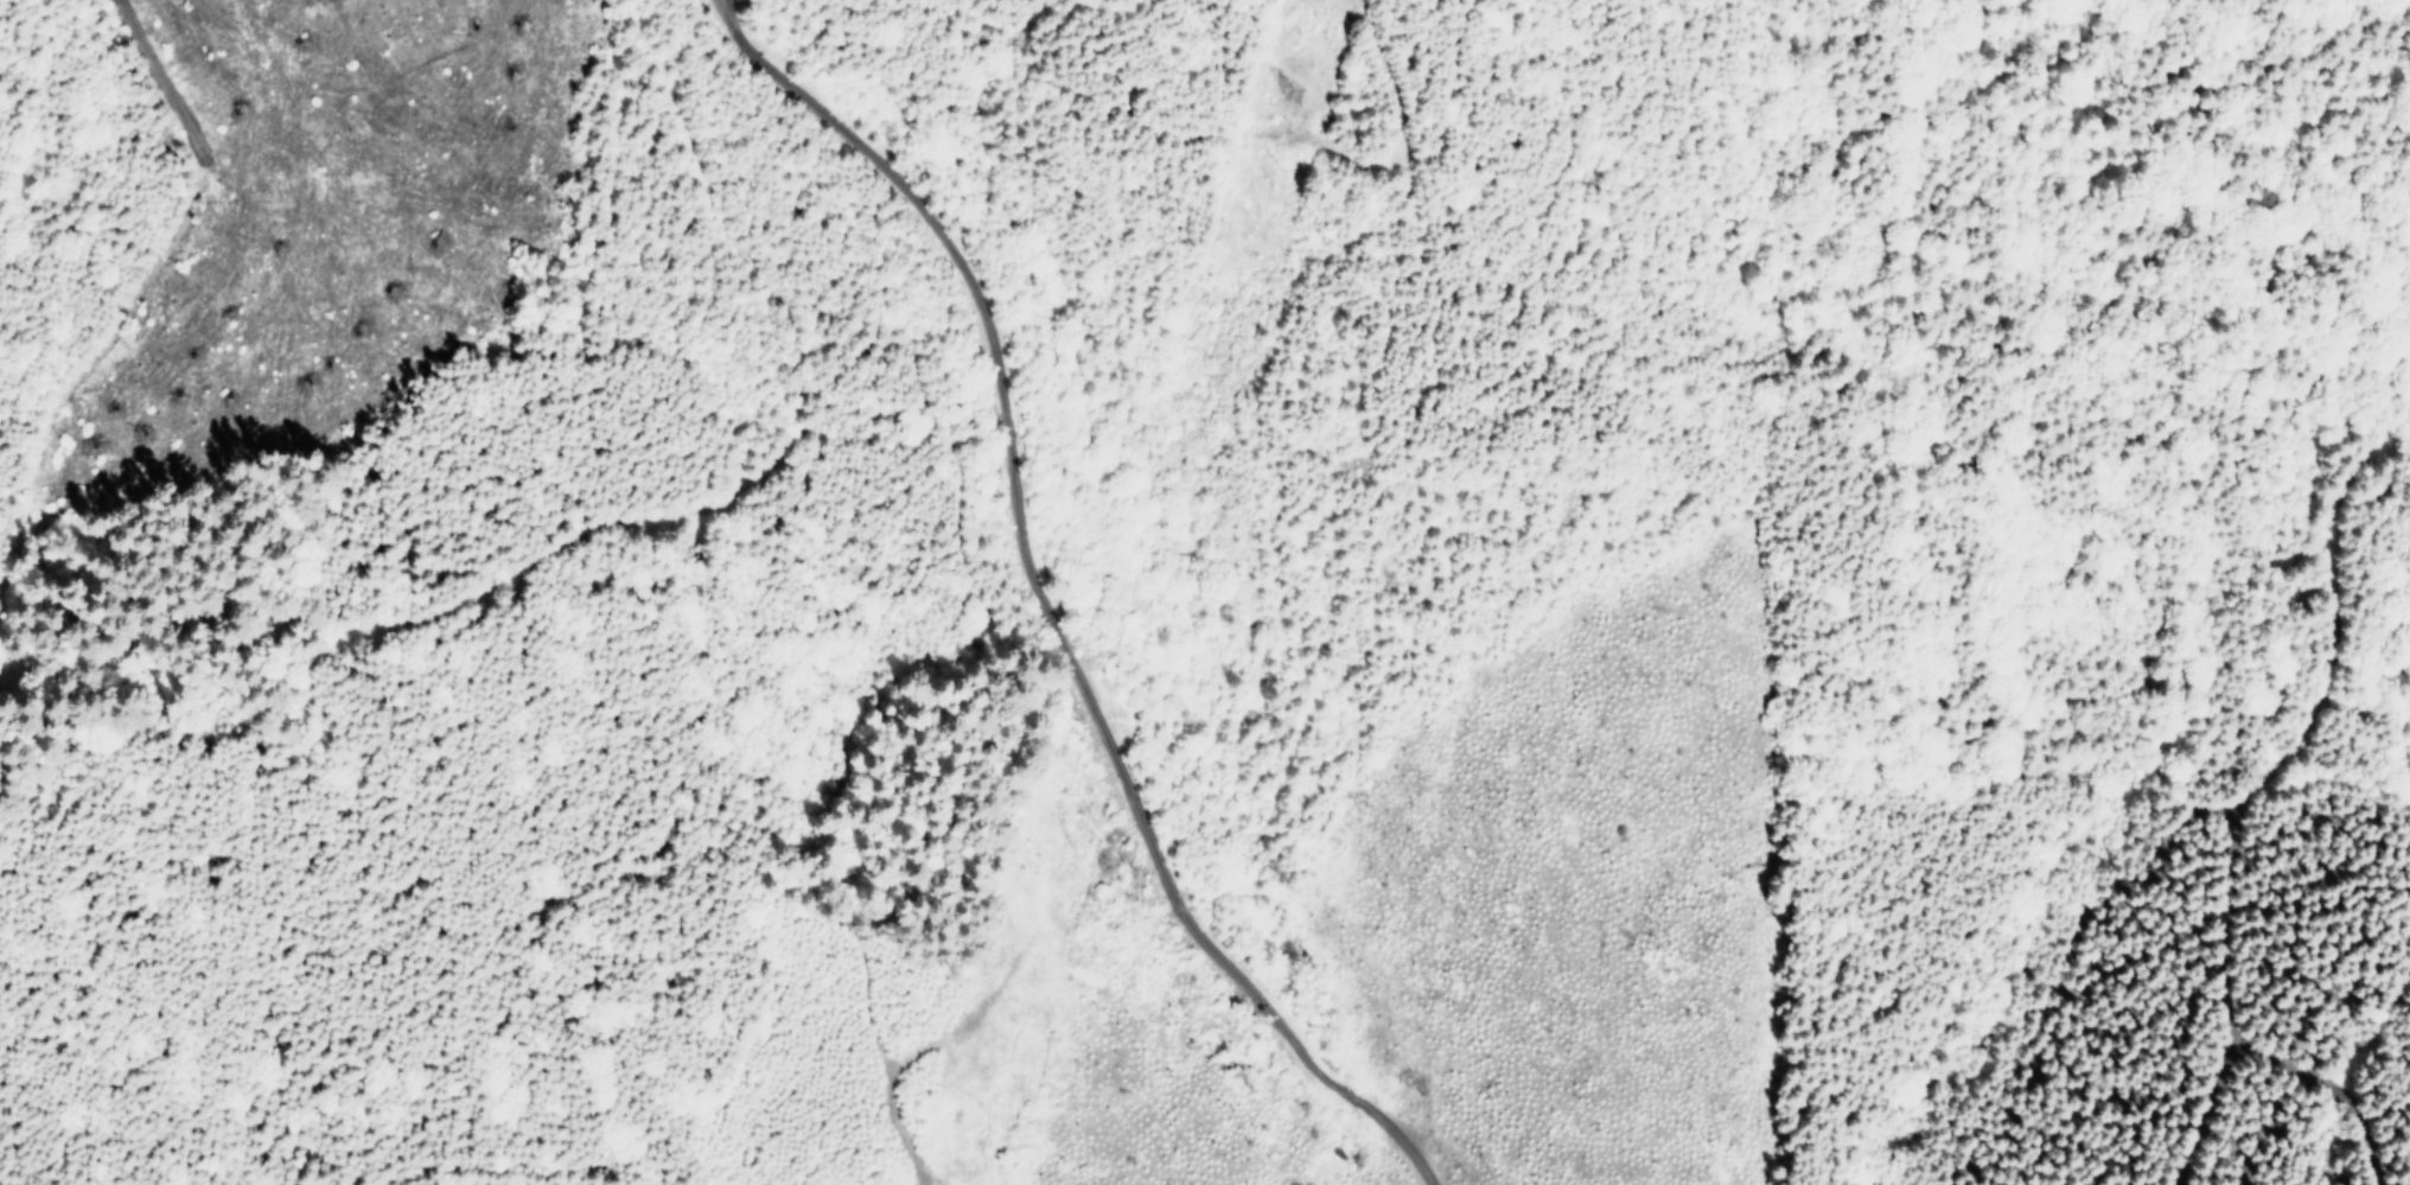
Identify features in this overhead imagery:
road: (2315, 1075)

